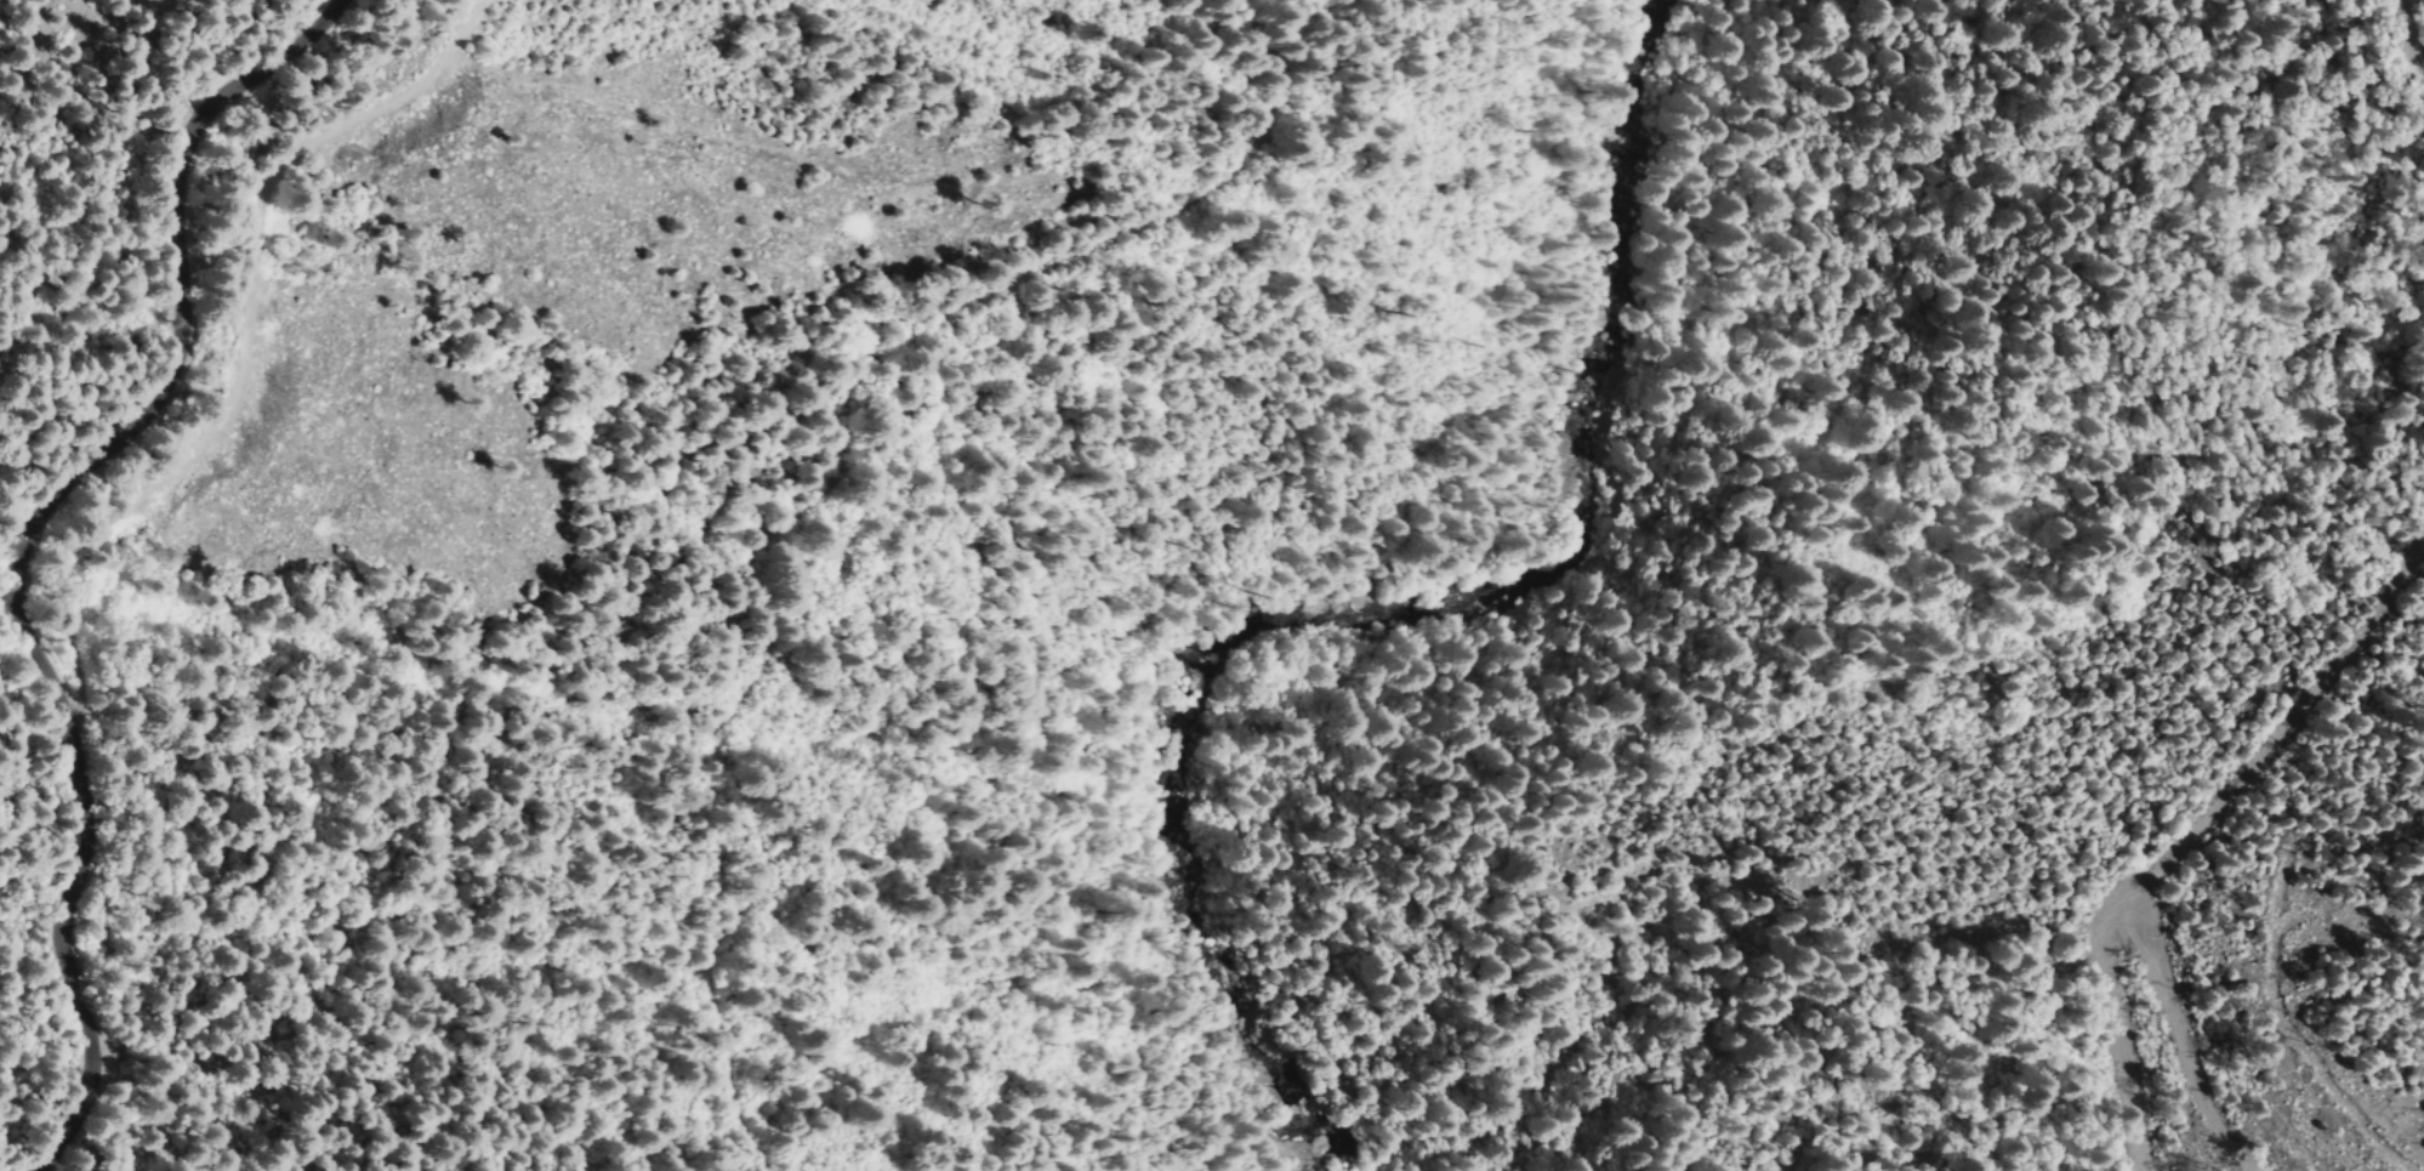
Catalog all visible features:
road: (27, 541)
river: (1360, 567)

